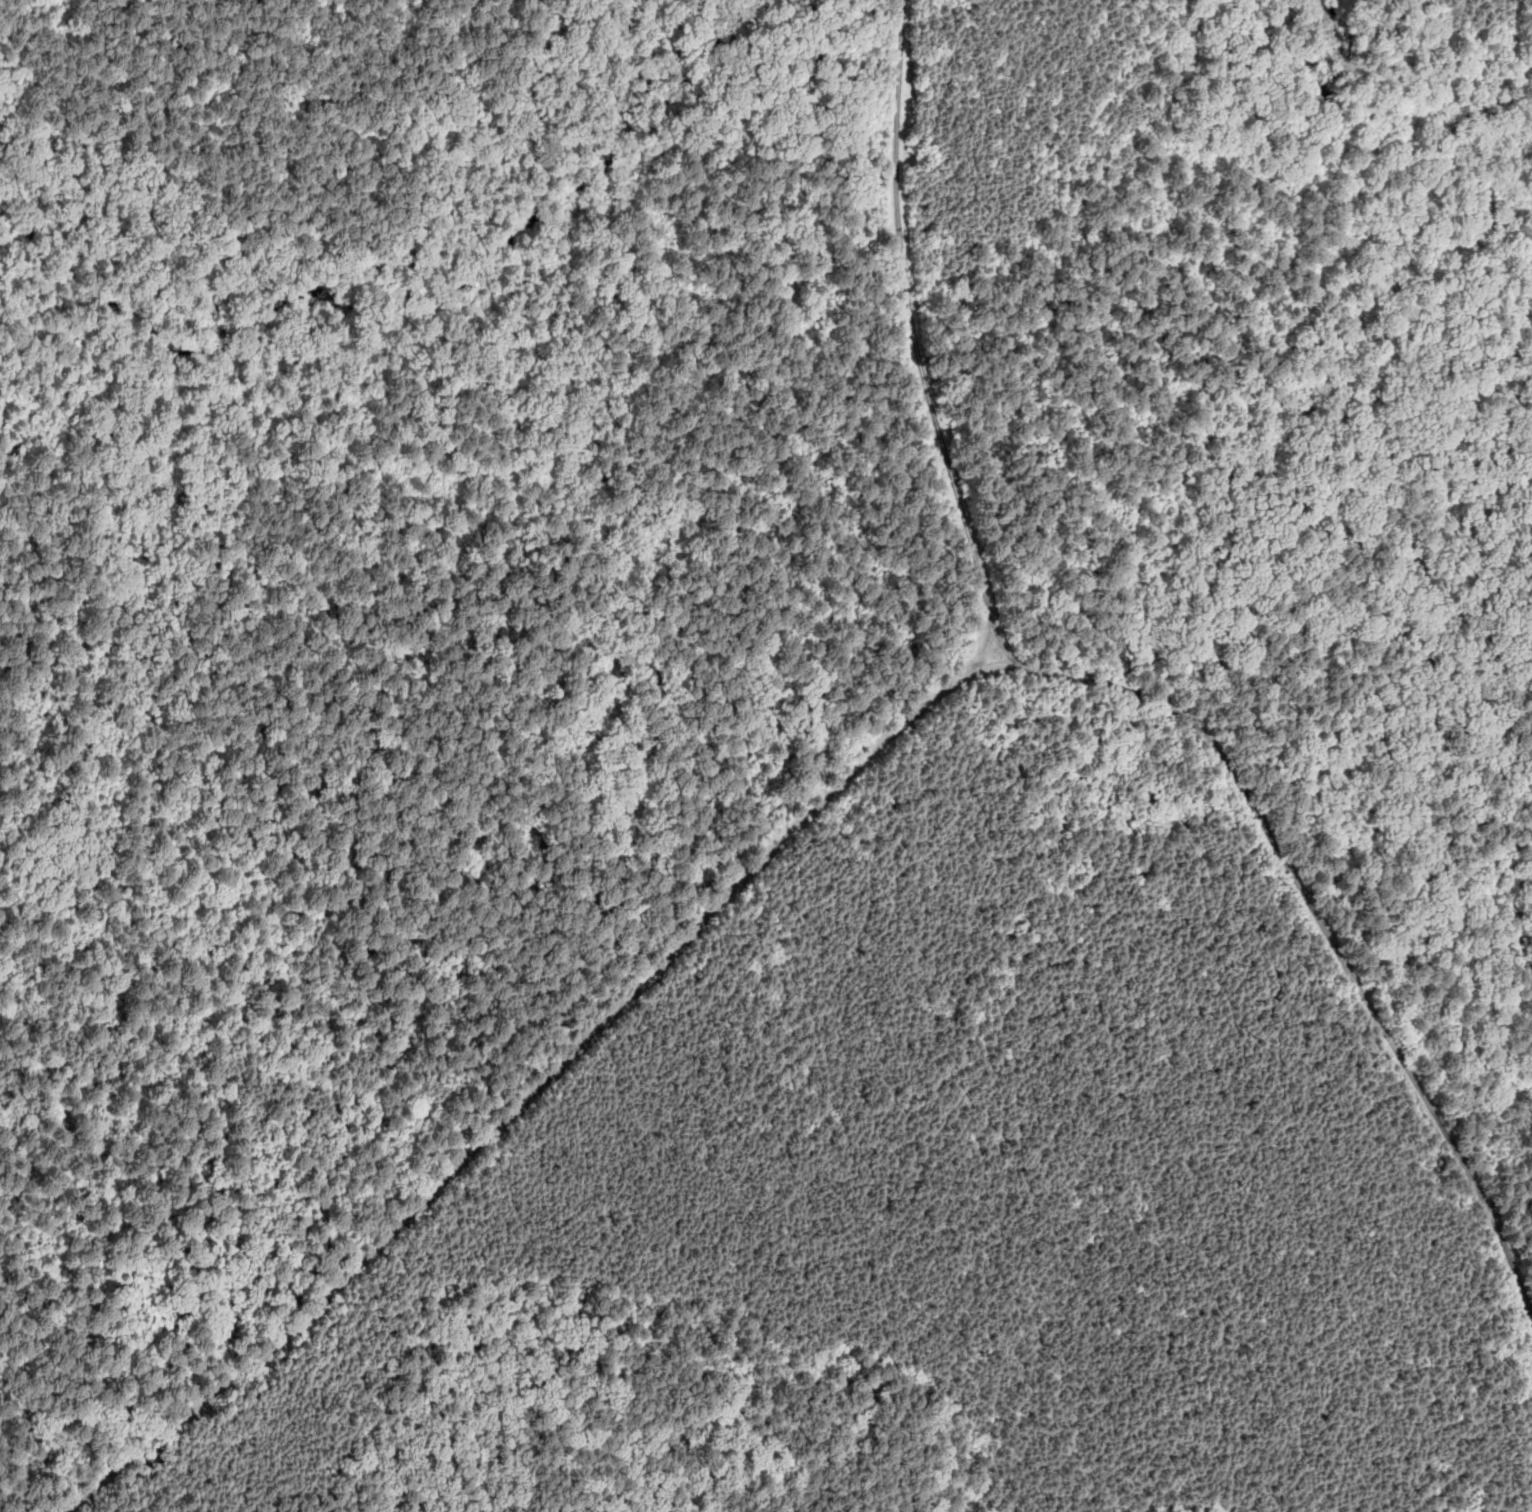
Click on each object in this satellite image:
road: (917, 338)
road: (850, 768)

